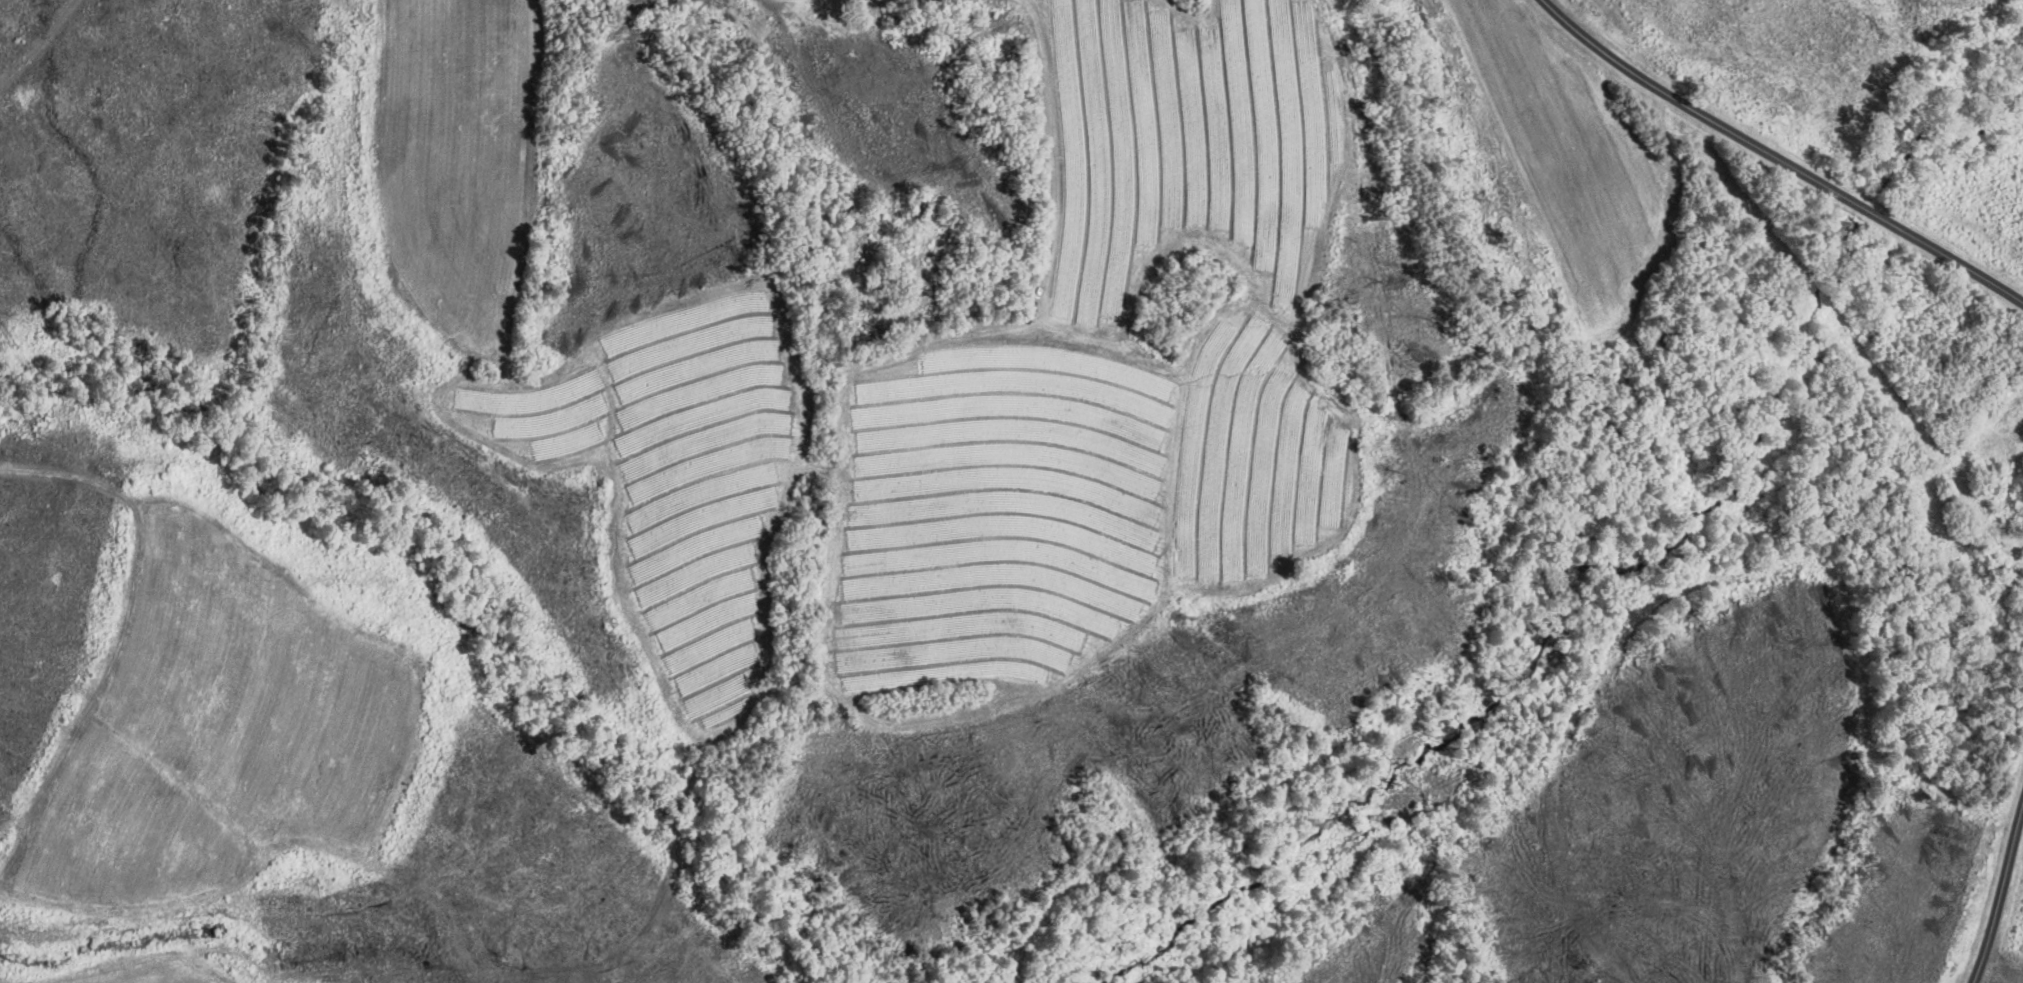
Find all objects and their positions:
road: (1780, 157)
road: (2000, 890)

